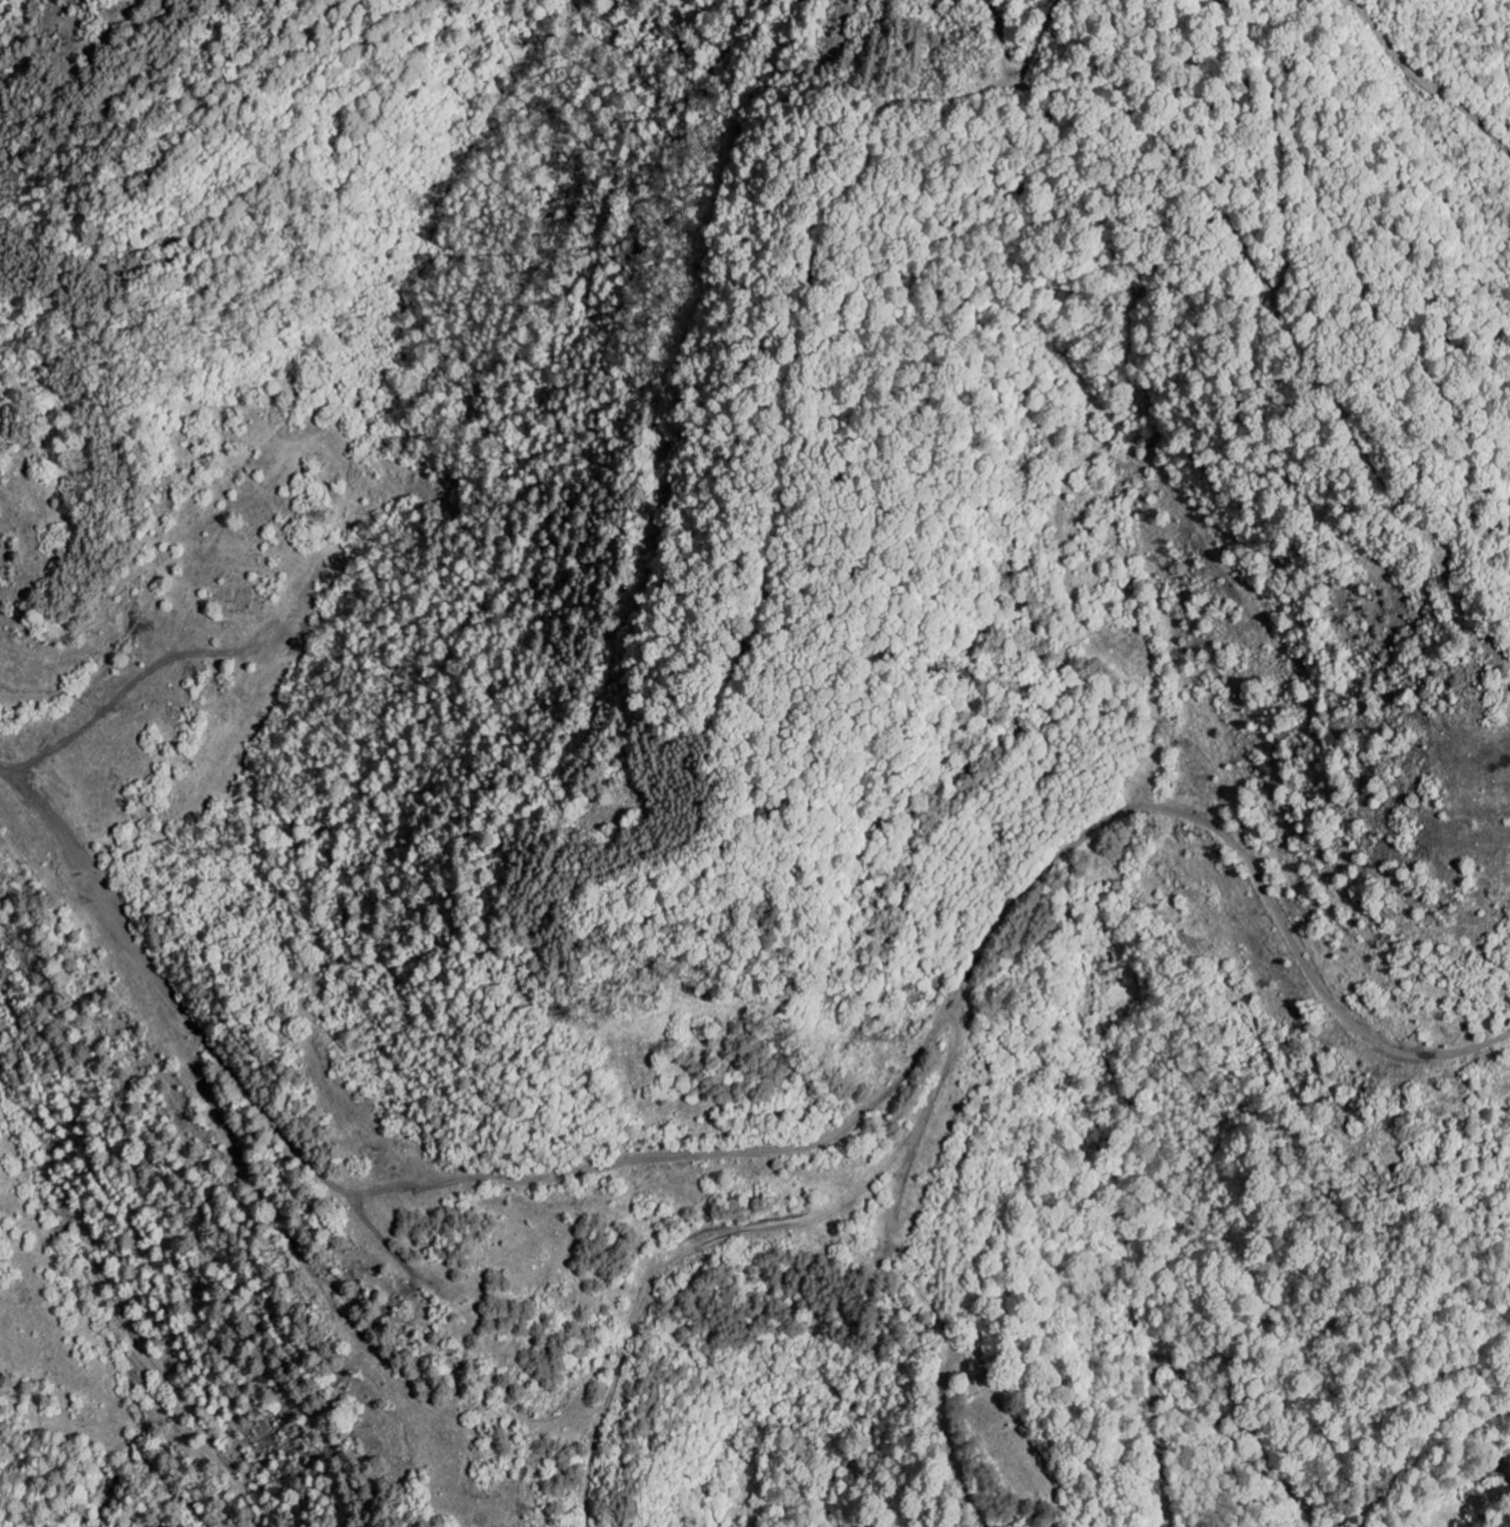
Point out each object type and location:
road: (1417, 1461)

